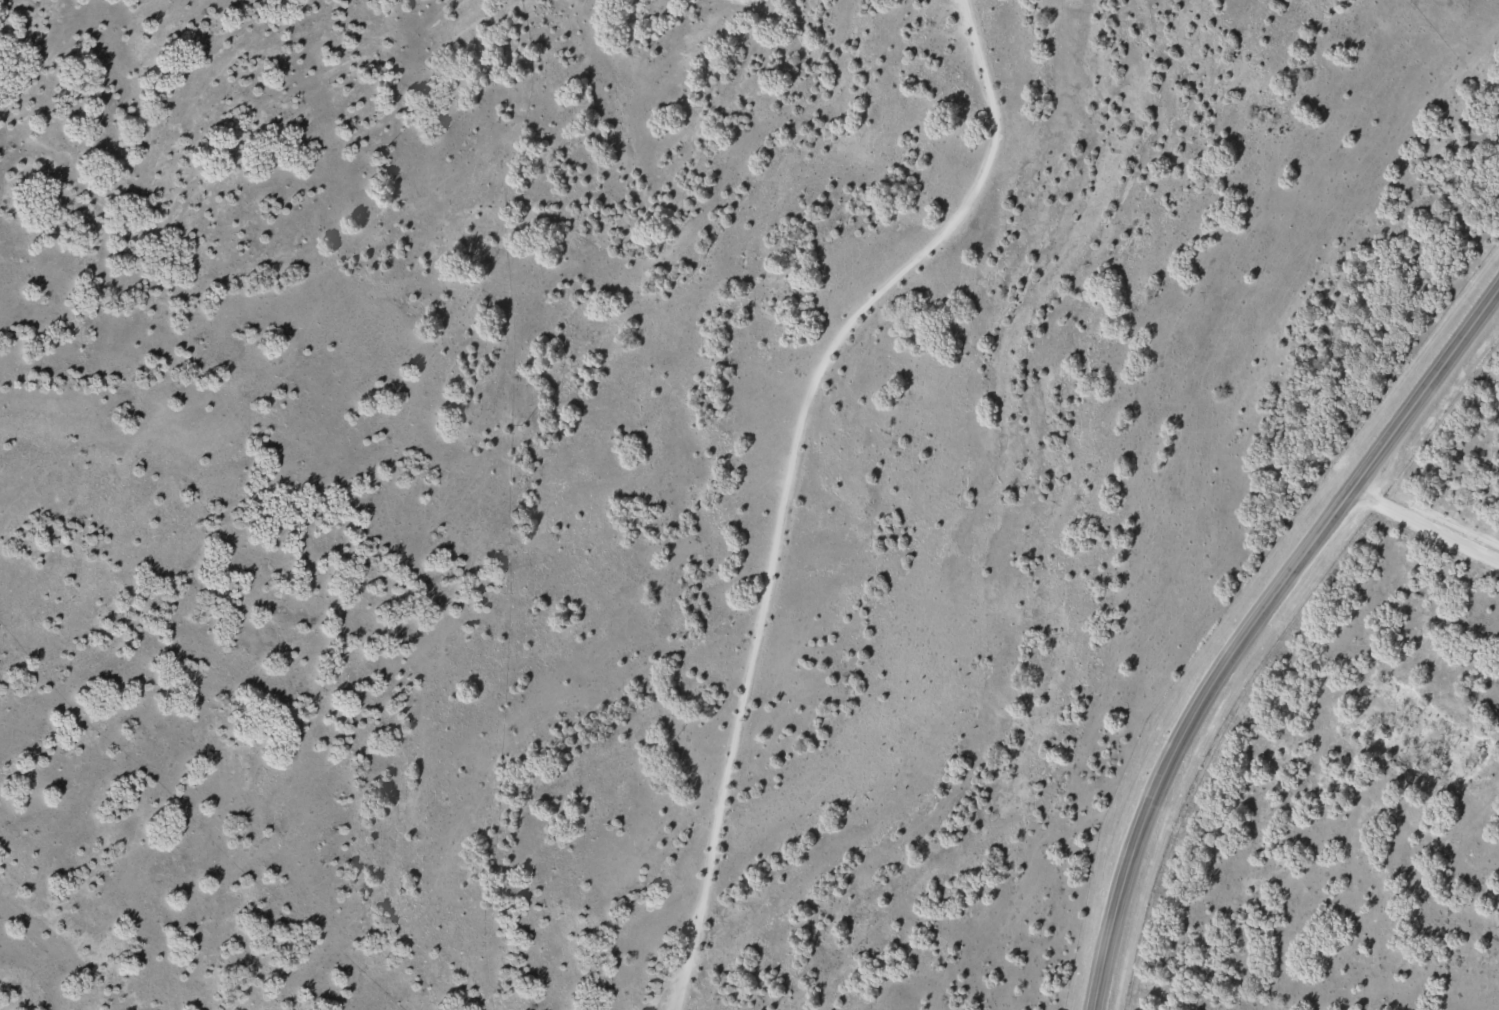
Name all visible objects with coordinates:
road: (1429, 522)
road: (1257, 634)

